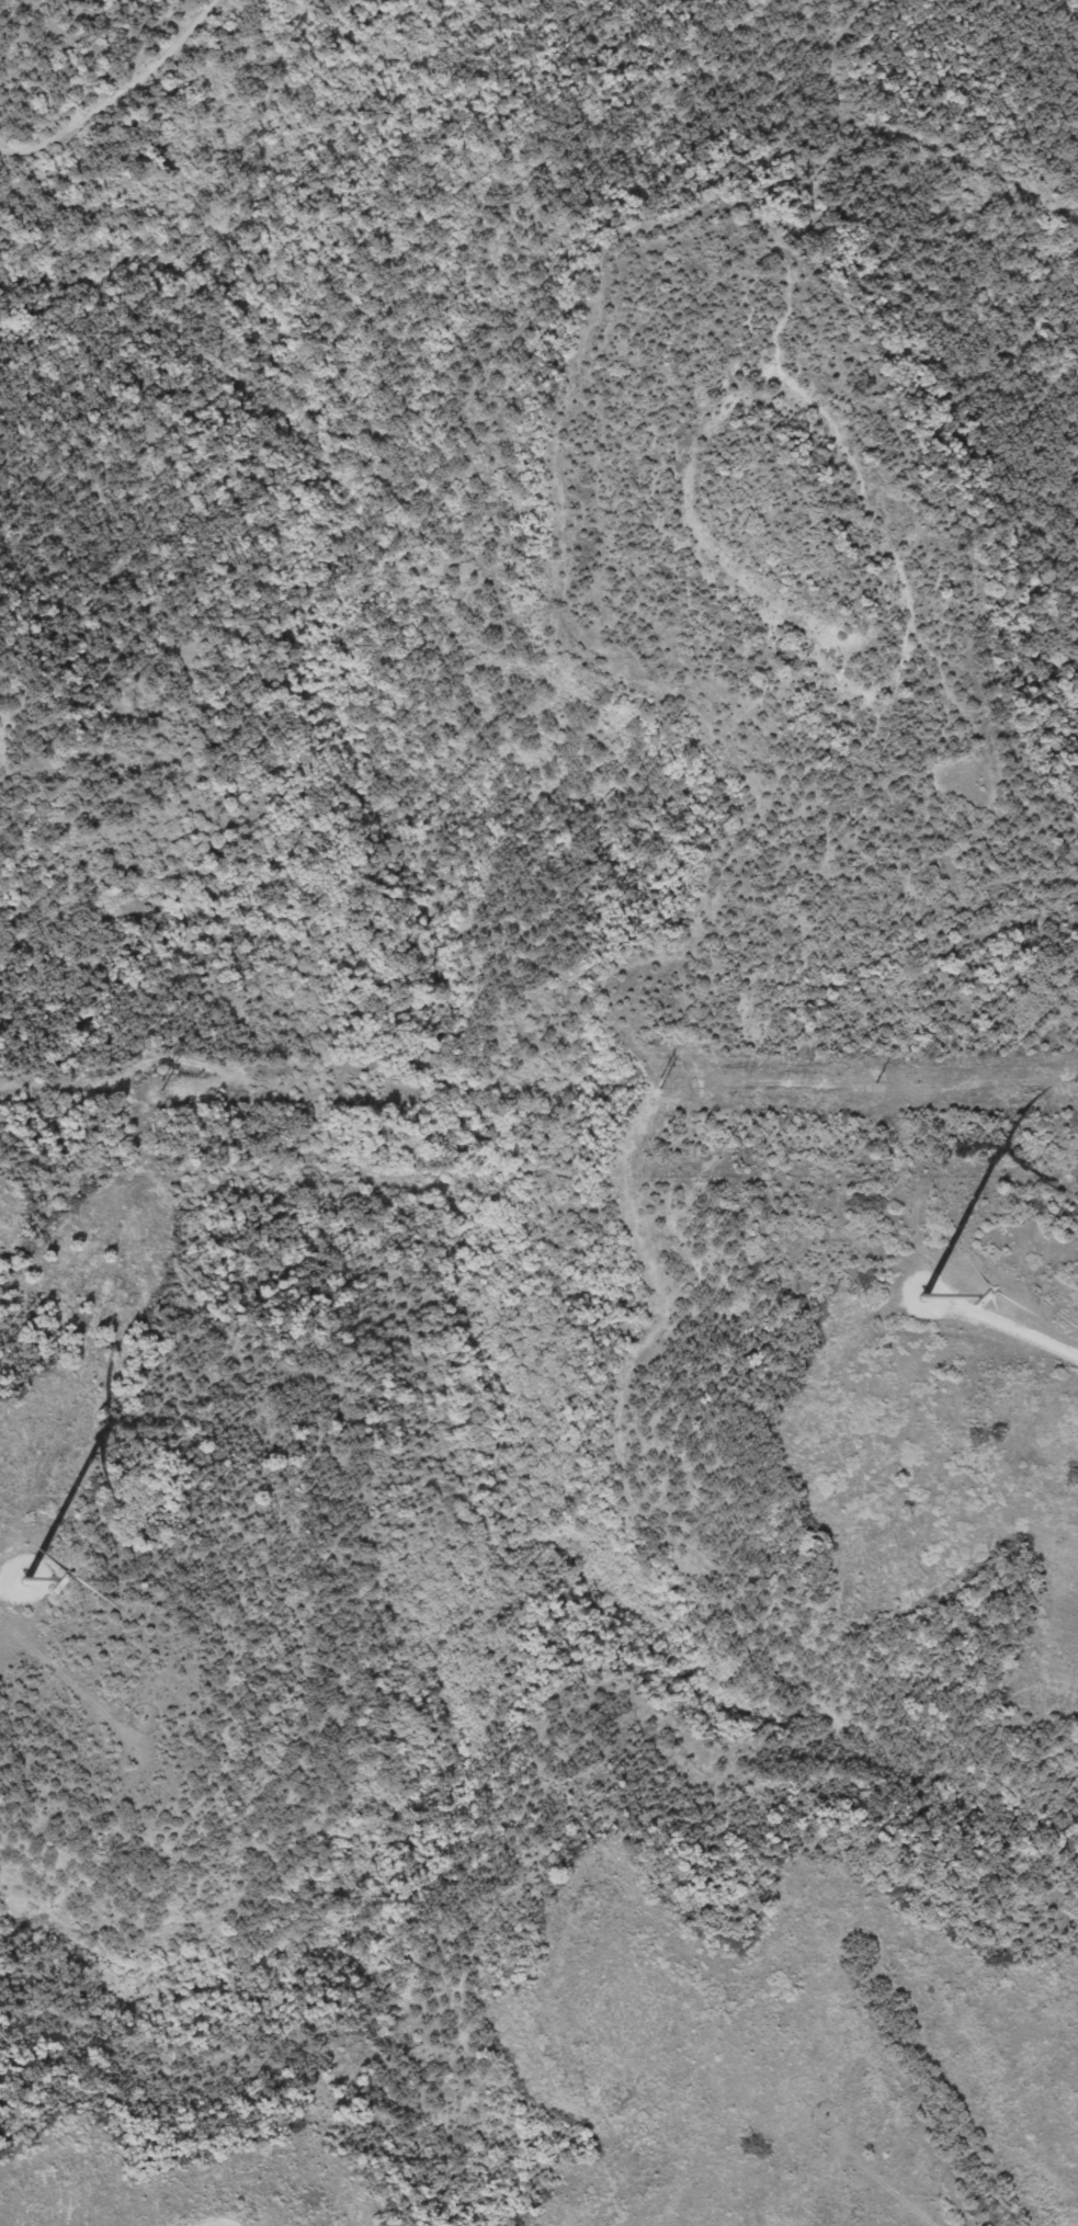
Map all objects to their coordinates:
road: (117, 95)
power tower: (874, 1081)
power tower: (1074, 1081)
power tower: (660, 1082)
power tower: (161, 1084)
wind turbine: (917, 1309)
wind turbine: (31, 1559)

